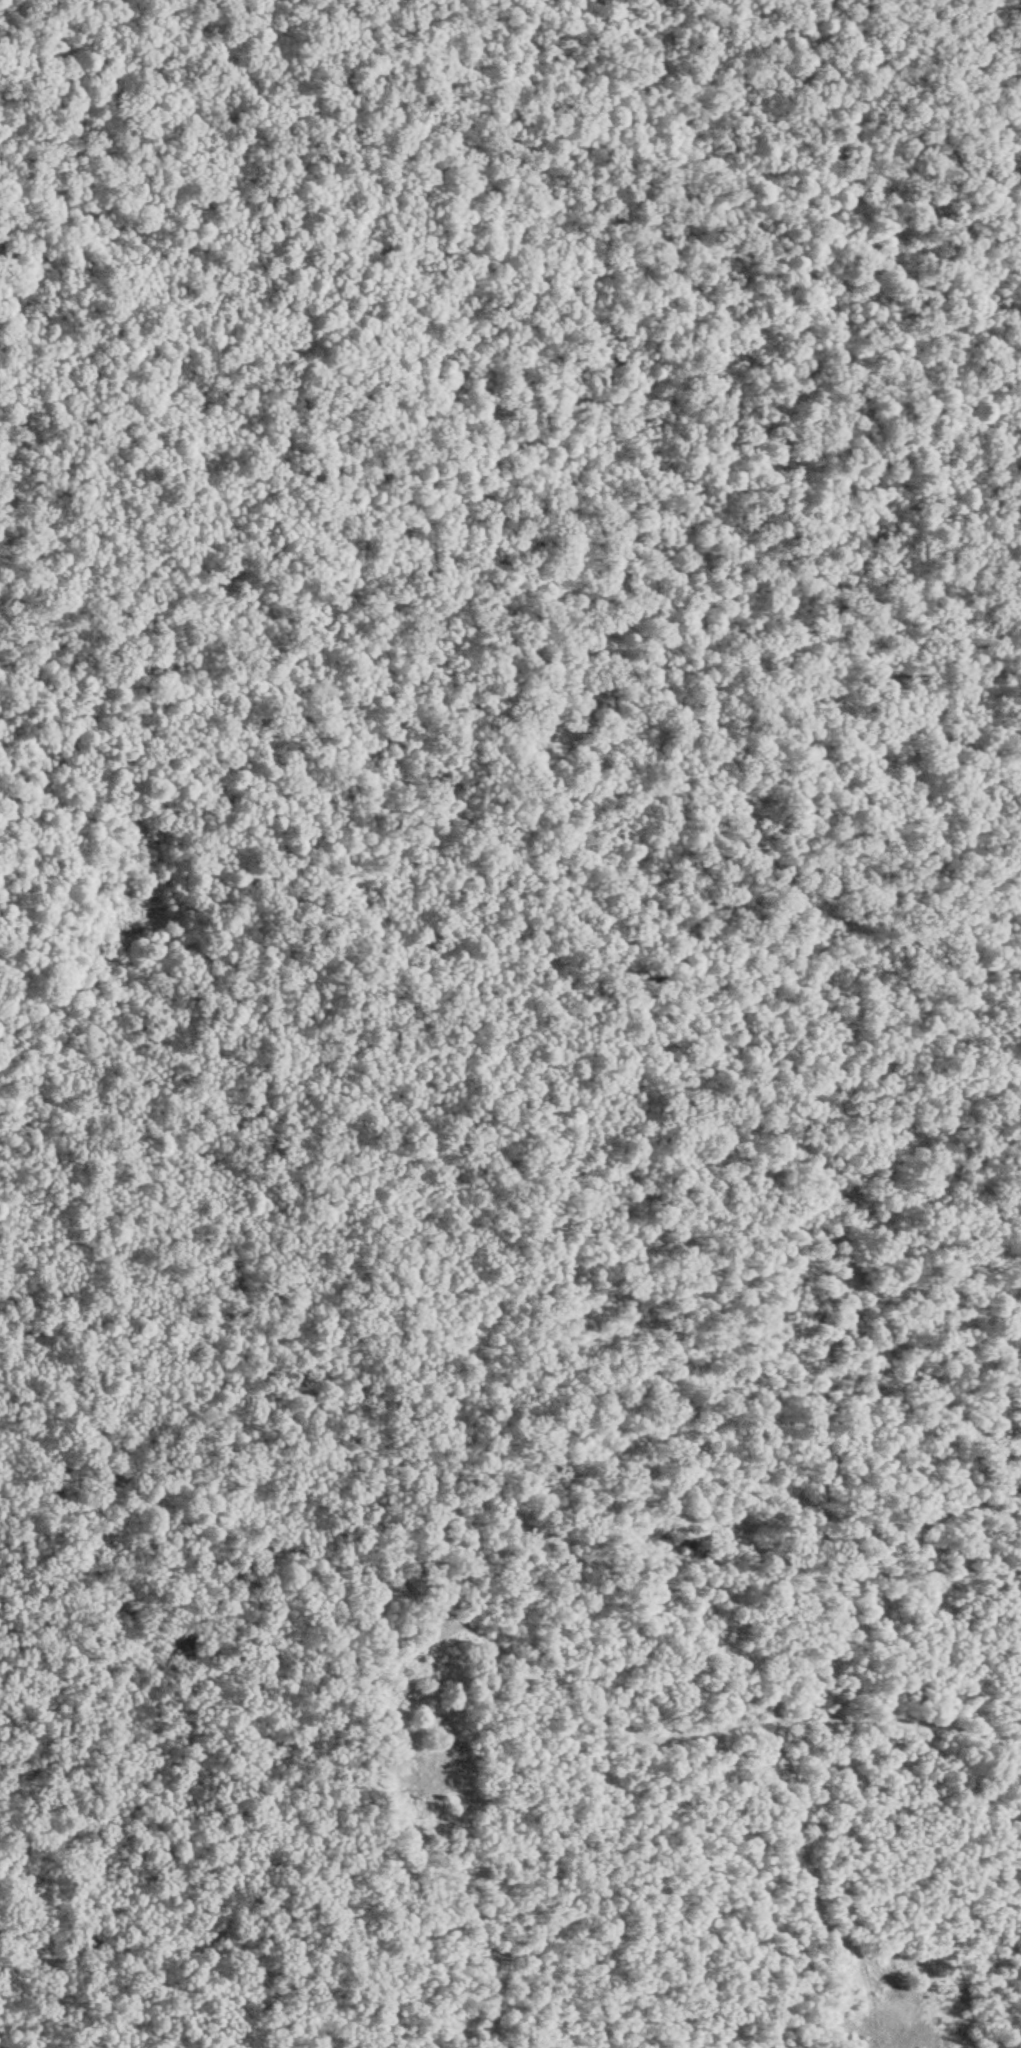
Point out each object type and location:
road: (513, 214)
building: (5, 221)
building: (8, 257)
road: (509, 1660)

